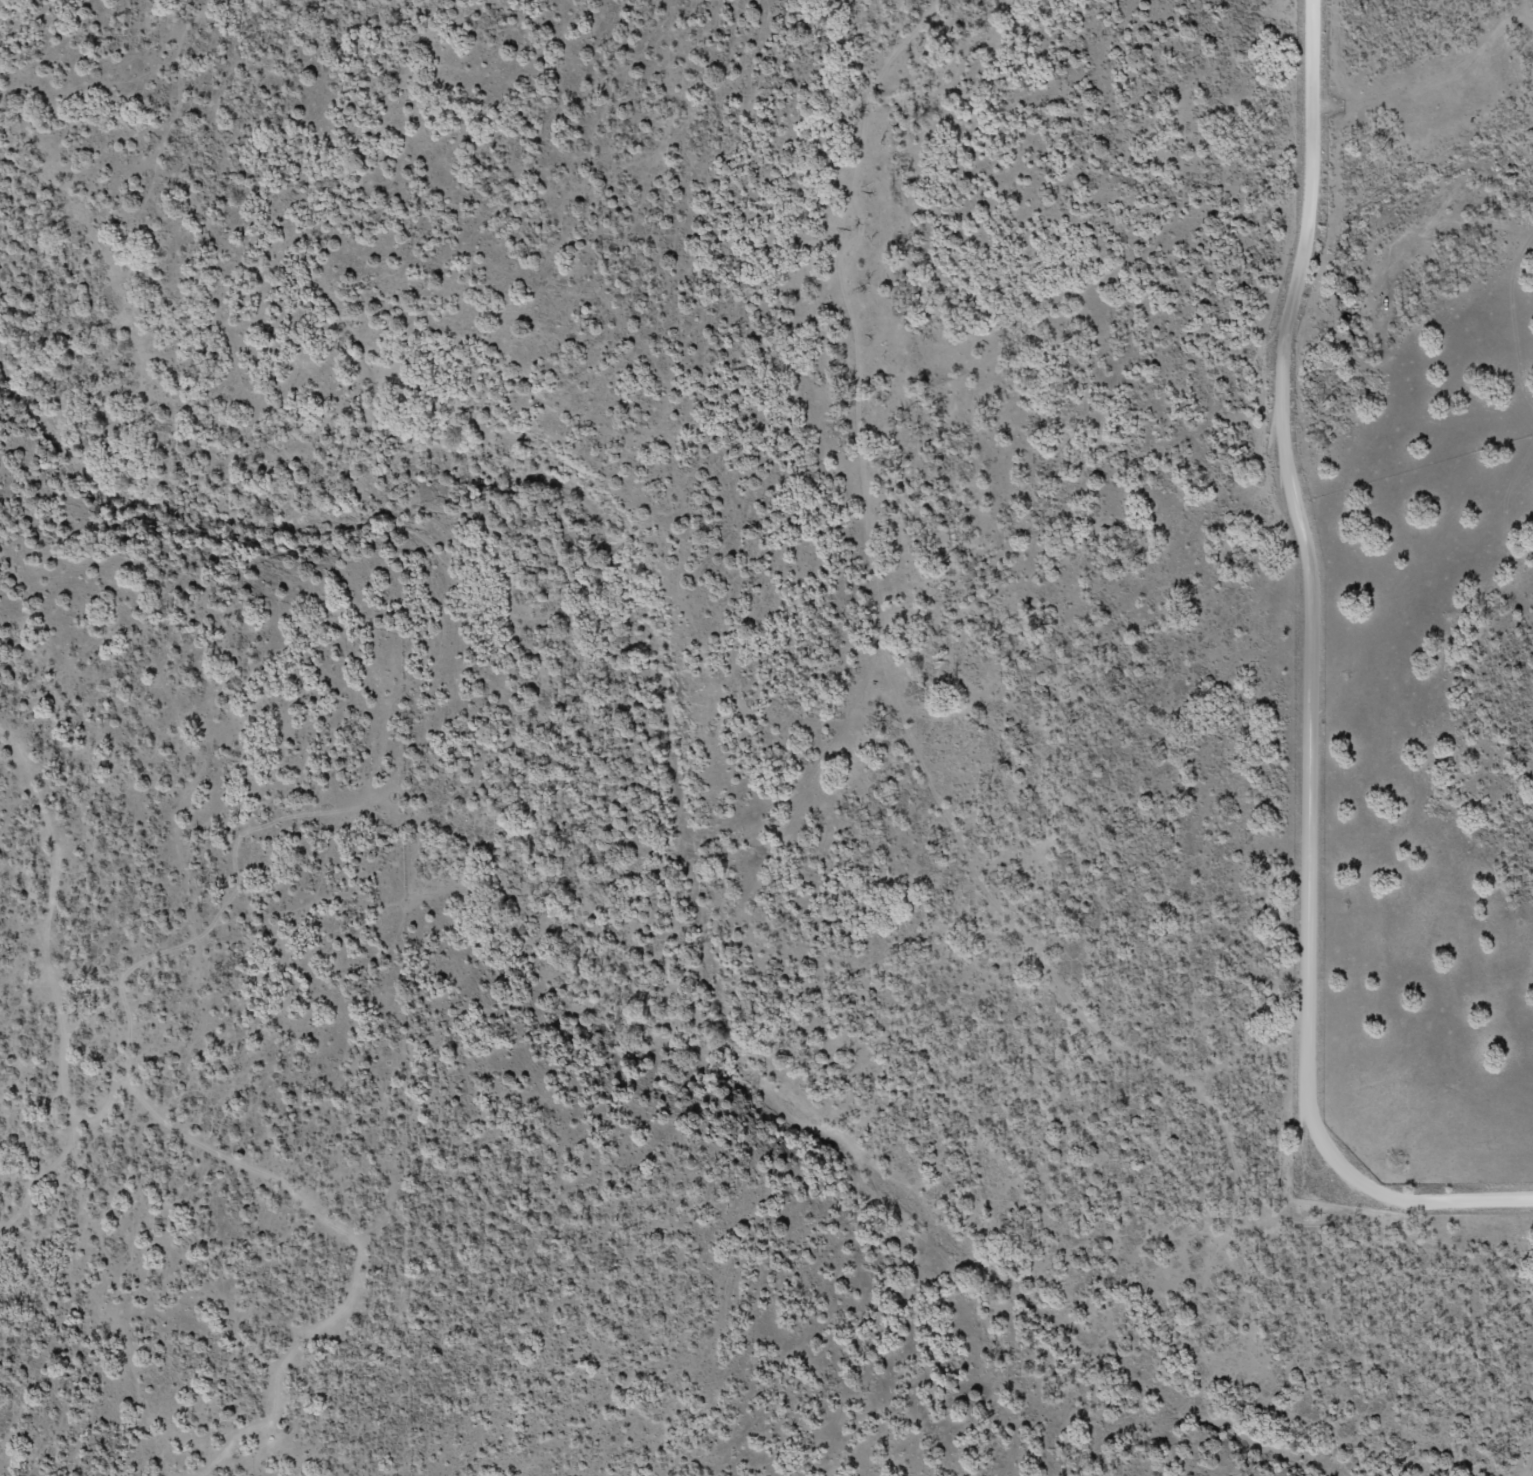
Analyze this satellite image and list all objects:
road: (1321, 668)

